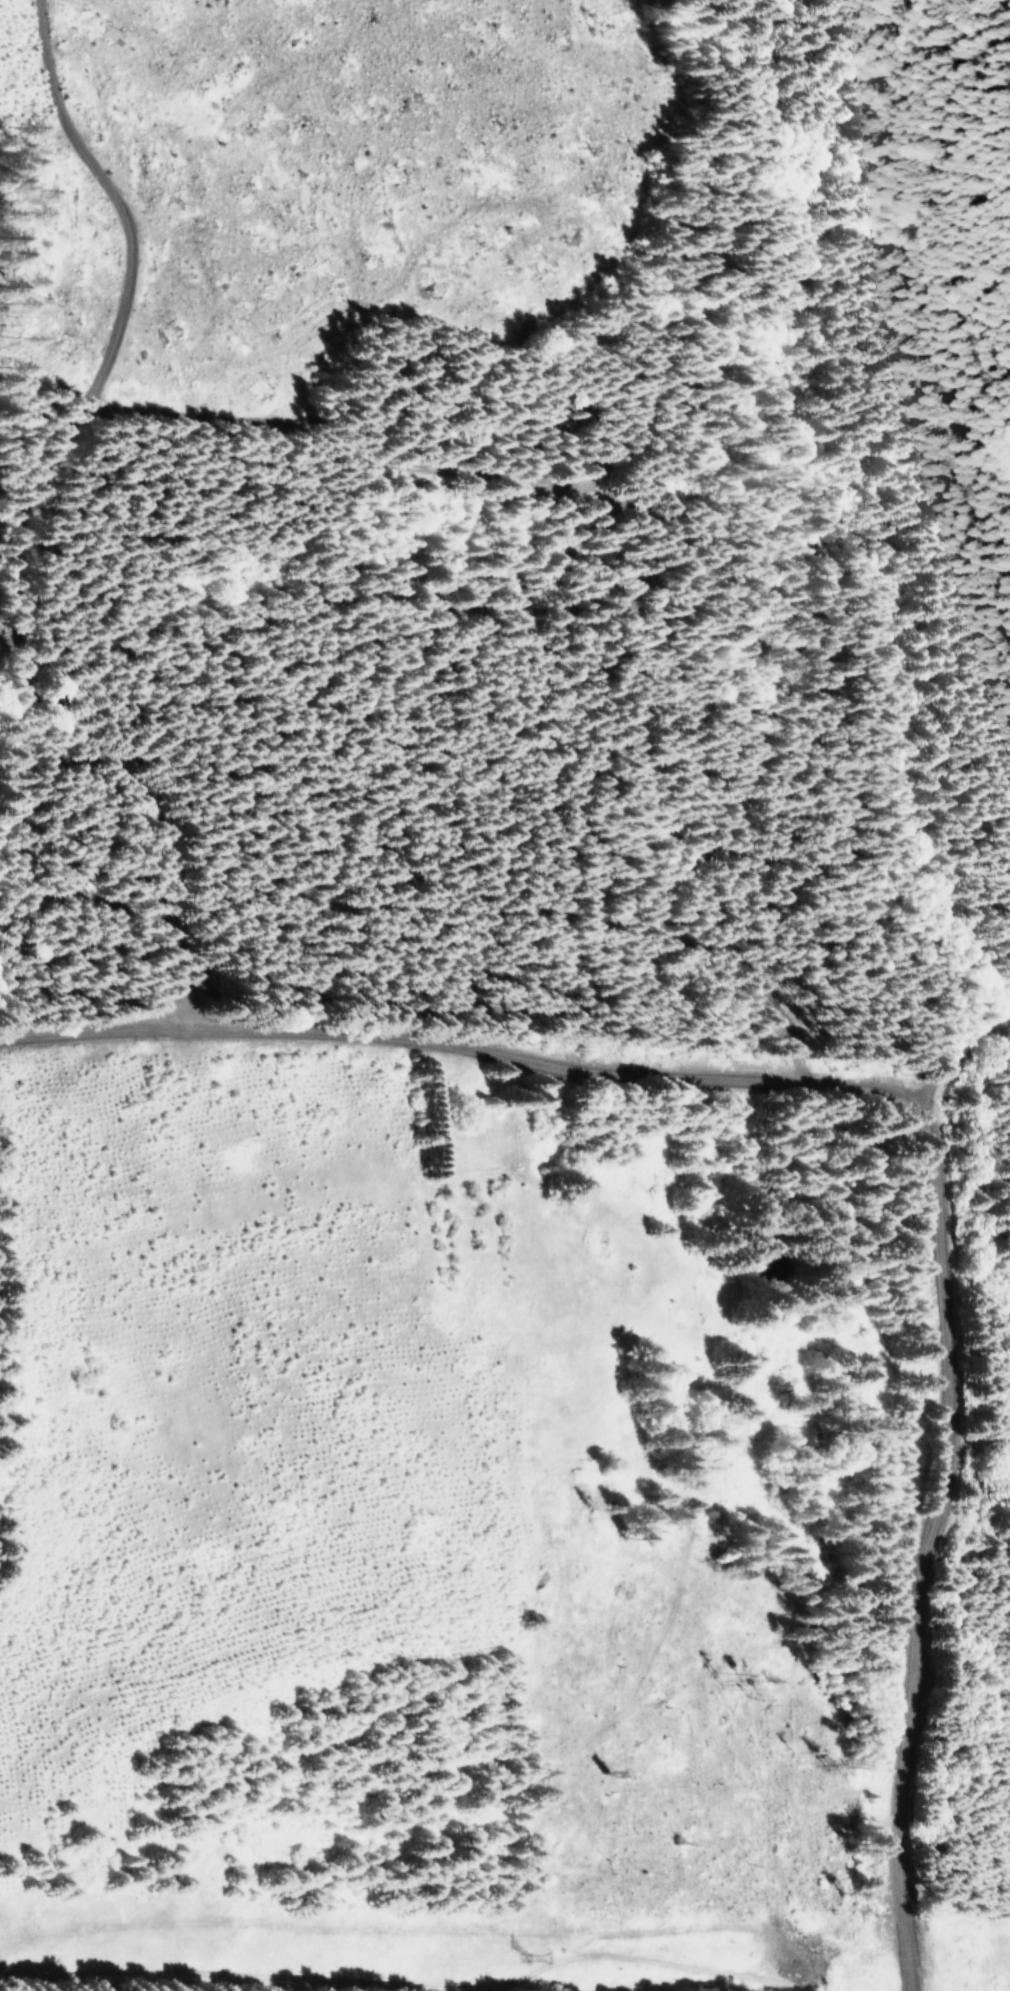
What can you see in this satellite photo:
road: (34, 565)
road: (465, 1041)
road: (920, 1551)
power tower: (521, 1953)

